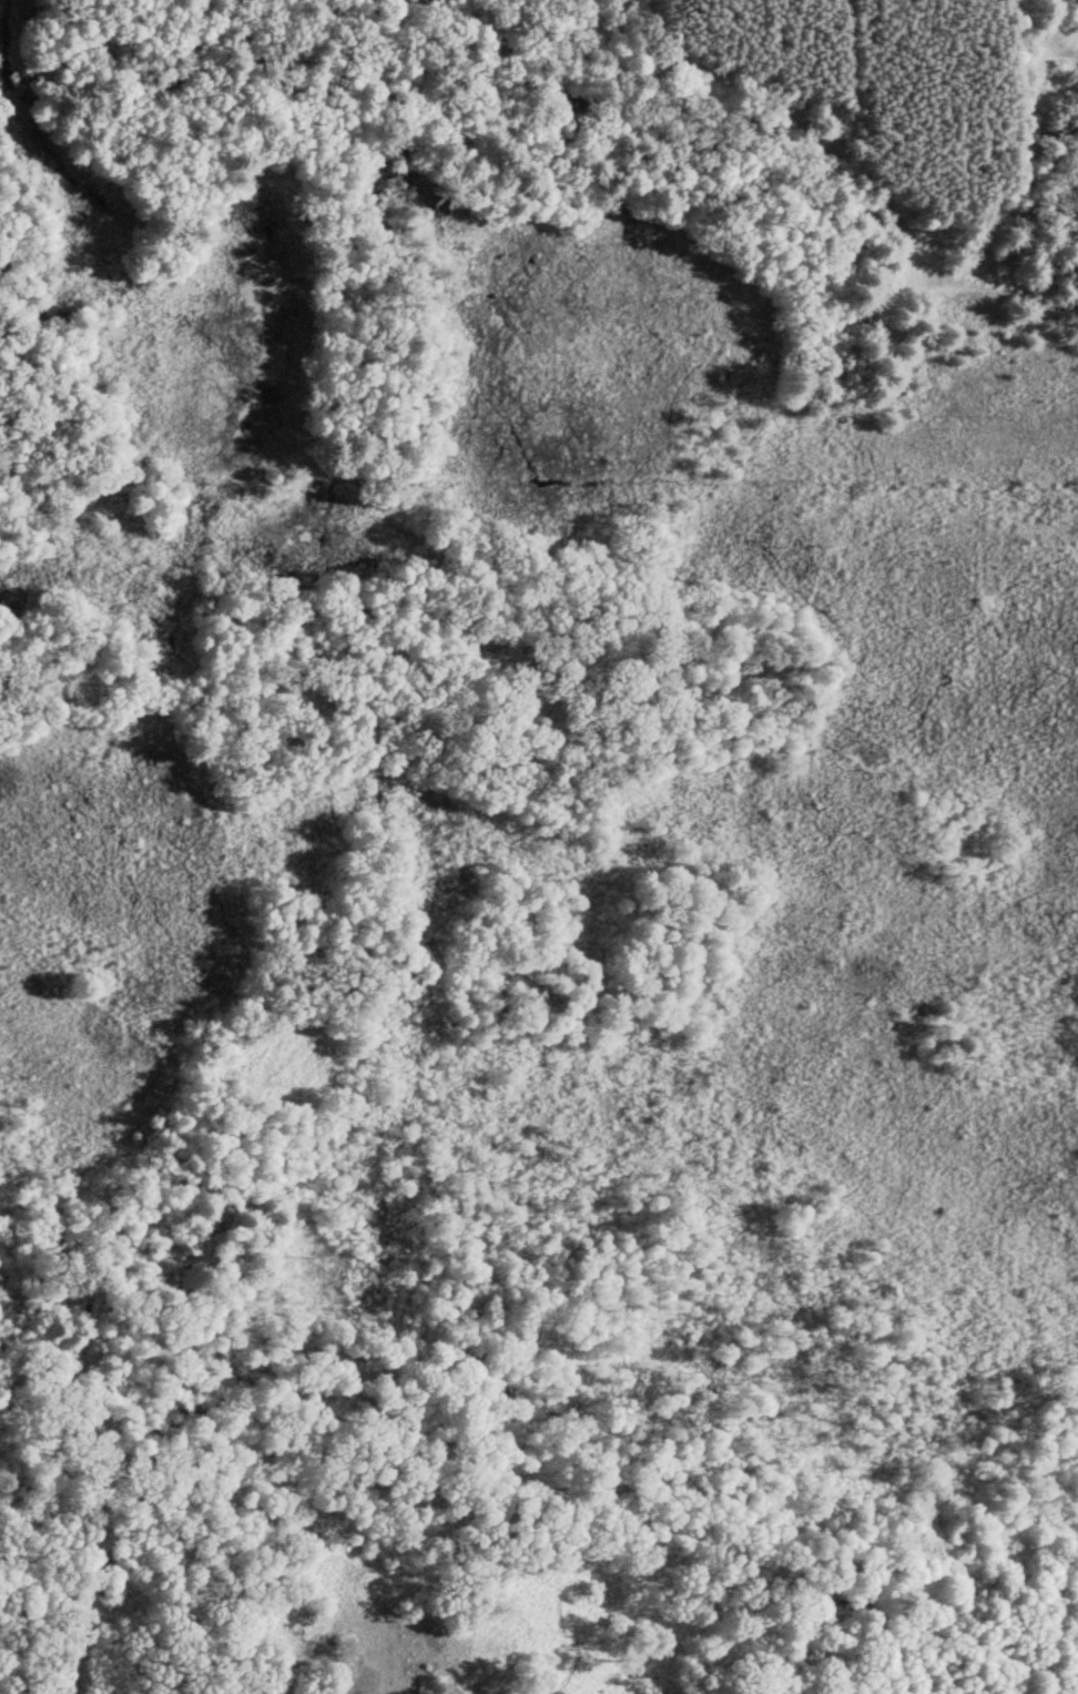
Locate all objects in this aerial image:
road: (387, 116)

